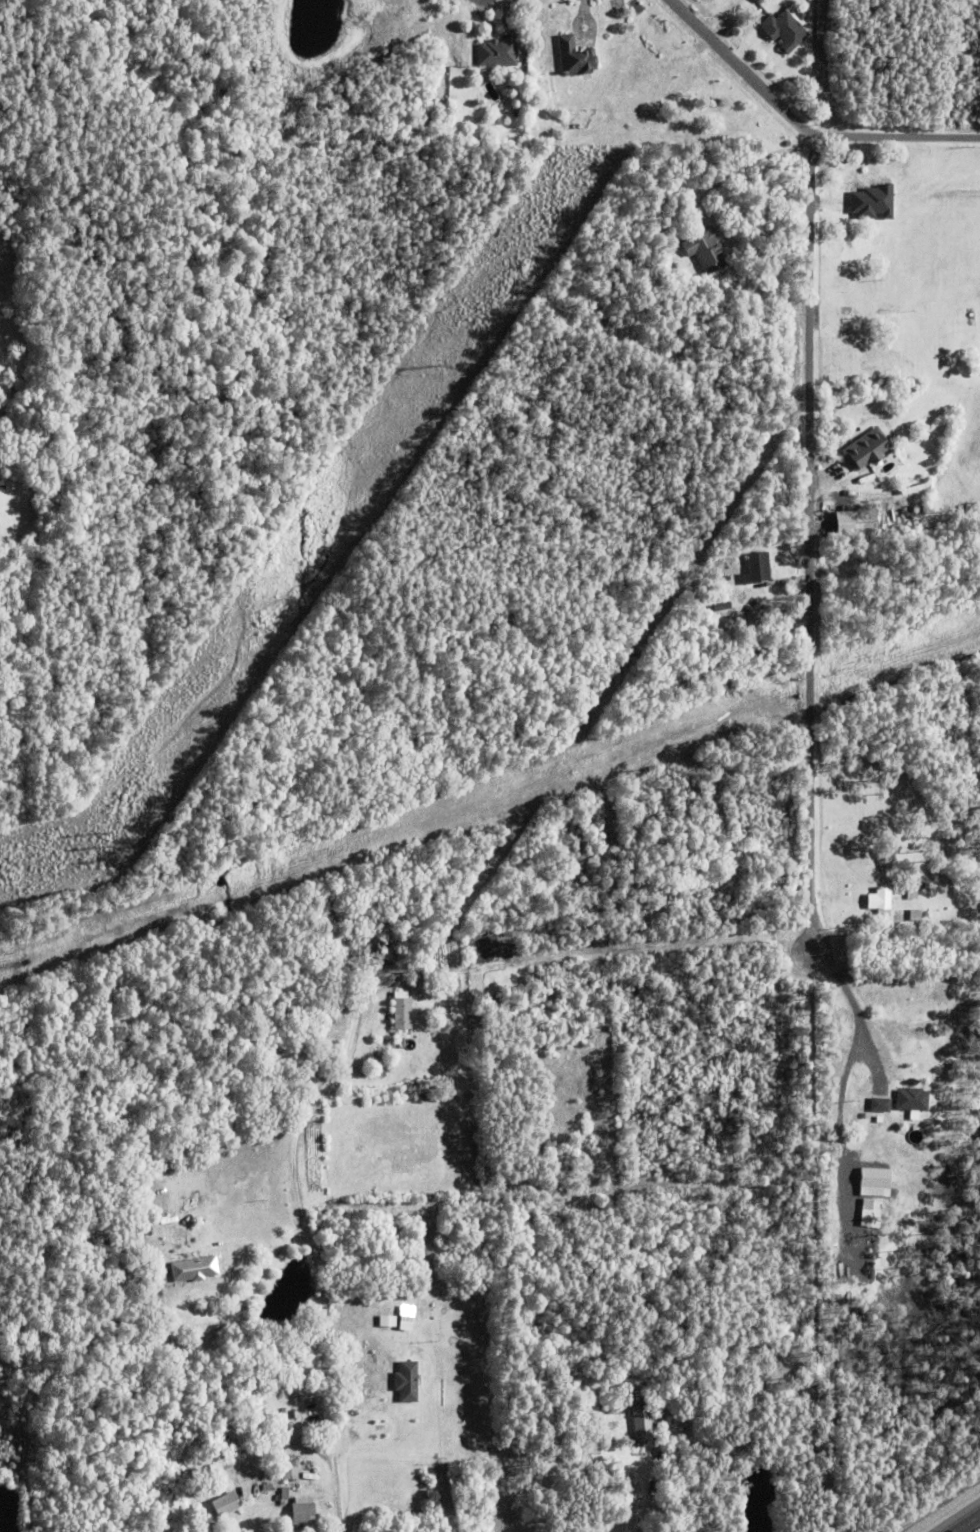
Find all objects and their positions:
building: (783, 30)
building: (498, 51)
building: (575, 57)
road: (744, 73)
building: (847, 182)
building: (874, 201)
building: (846, 225)
building: (705, 251)
building: (716, 292)
power tower: (438, 369)
building: (18, 398)
building: (866, 450)
road: (810, 457)
building: (831, 469)
building: (2, 488)
building: (847, 495)
building: (863, 525)
building: (758, 568)
building: (605, 744)
building: (739, 753)
building: (583, 759)
building: (606, 771)
building: (592, 825)
power tower: (113, 847)
building: (578, 850)
building: (929, 887)
building: (913, 890)
building: (880, 903)
building: (916, 916)
building: (319, 943)
building: (399, 946)
building: (383, 951)
building: (499, 1007)
building: (401, 1016)
road: (849, 1062)
building: (933, 1091)
building: (912, 1101)
building: (881, 1105)
building: (877, 1178)
building: (871, 1215)
road: (311, 1249)
building: (93, 1252)
building: (133, 1271)
building: (195, 1271)
building: (406, 1321)
road: (243, 1322)
building: (388, 1323)
building: (383, 1336)
building: (732, 1357)
building: (406, 1384)
building: (637, 1393)
building: (627, 1395)
building: (670, 1409)
building: (643, 1421)
building: (608, 1434)
building: (291, 1472)
building: (276, 1479)
building: (267, 1489)
building: (284, 1495)
road: (793, 1506)
building: (225, 1507)
building: (303, 1513)
road: (967, 1523)

